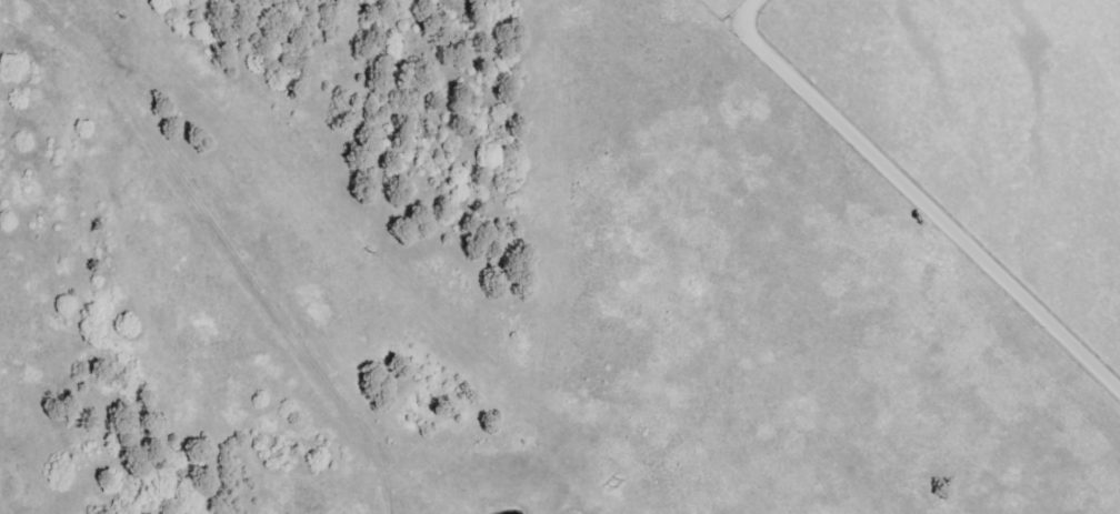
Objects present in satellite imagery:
power tower: (101, 9)
road: (921, 200)
road: (226, 245)
power tower: (357, 245)
power tower: (607, 480)

